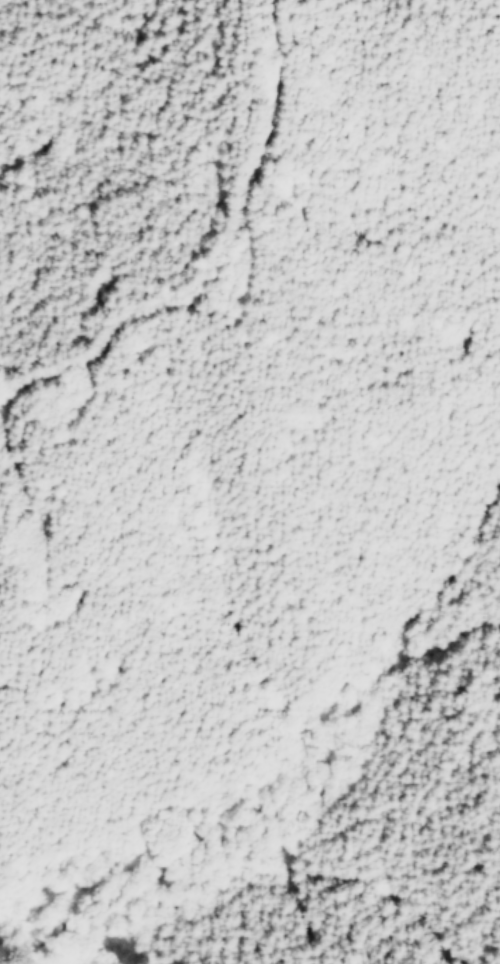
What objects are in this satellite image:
road: (149, 216)

